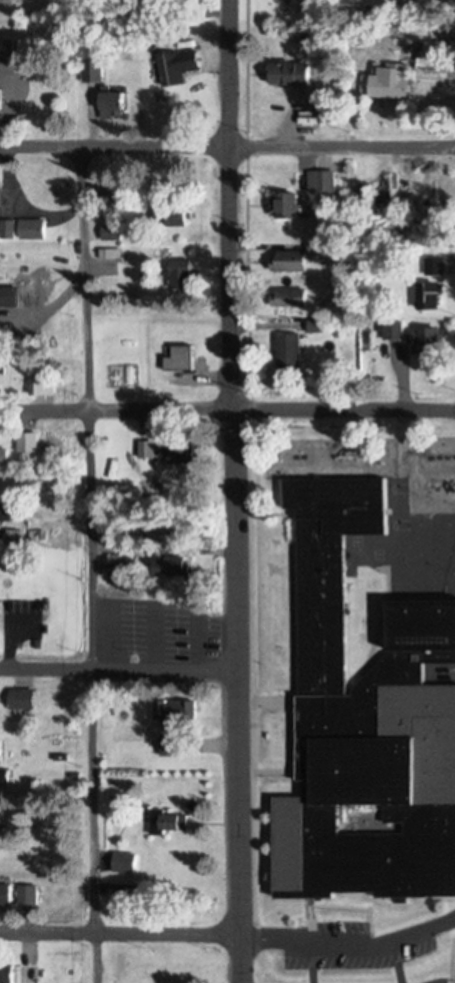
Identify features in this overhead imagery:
building: (15, 62)
building: (175, 65)
building: (91, 70)
building: (291, 72)
building: (389, 79)
building: (111, 103)
building: (327, 111)
road: (227, 146)
building: (320, 180)
building: (288, 204)
building: (171, 215)
building: (9, 228)
building: (34, 229)
building: (113, 232)
building: (289, 260)
building: (433, 265)
building: (181, 274)
building: (428, 295)
building: (10, 296)
building: (392, 328)
building: (425, 338)
building: (288, 350)
building: (179, 358)
road: (115, 406)
road: (342, 408)
building: (28, 441)
building: (145, 449)
building: (3, 453)
building: (177, 453)
road: (230, 491)
building: (4, 510)
building: (164, 562)
road: (86, 563)
building: (167, 627)
road: (115, 668)
building: (19, 699)
building: (169, 712)
building: (365, 725)
building: (169, 745)
building: (2, 775)
building: (166, 821)
building: (121, 861)
building: (3, 894)
building: (25, 894)
road: (116, 931)
road: (345, 938)
building: (5, 974)
building: (25, 974)

